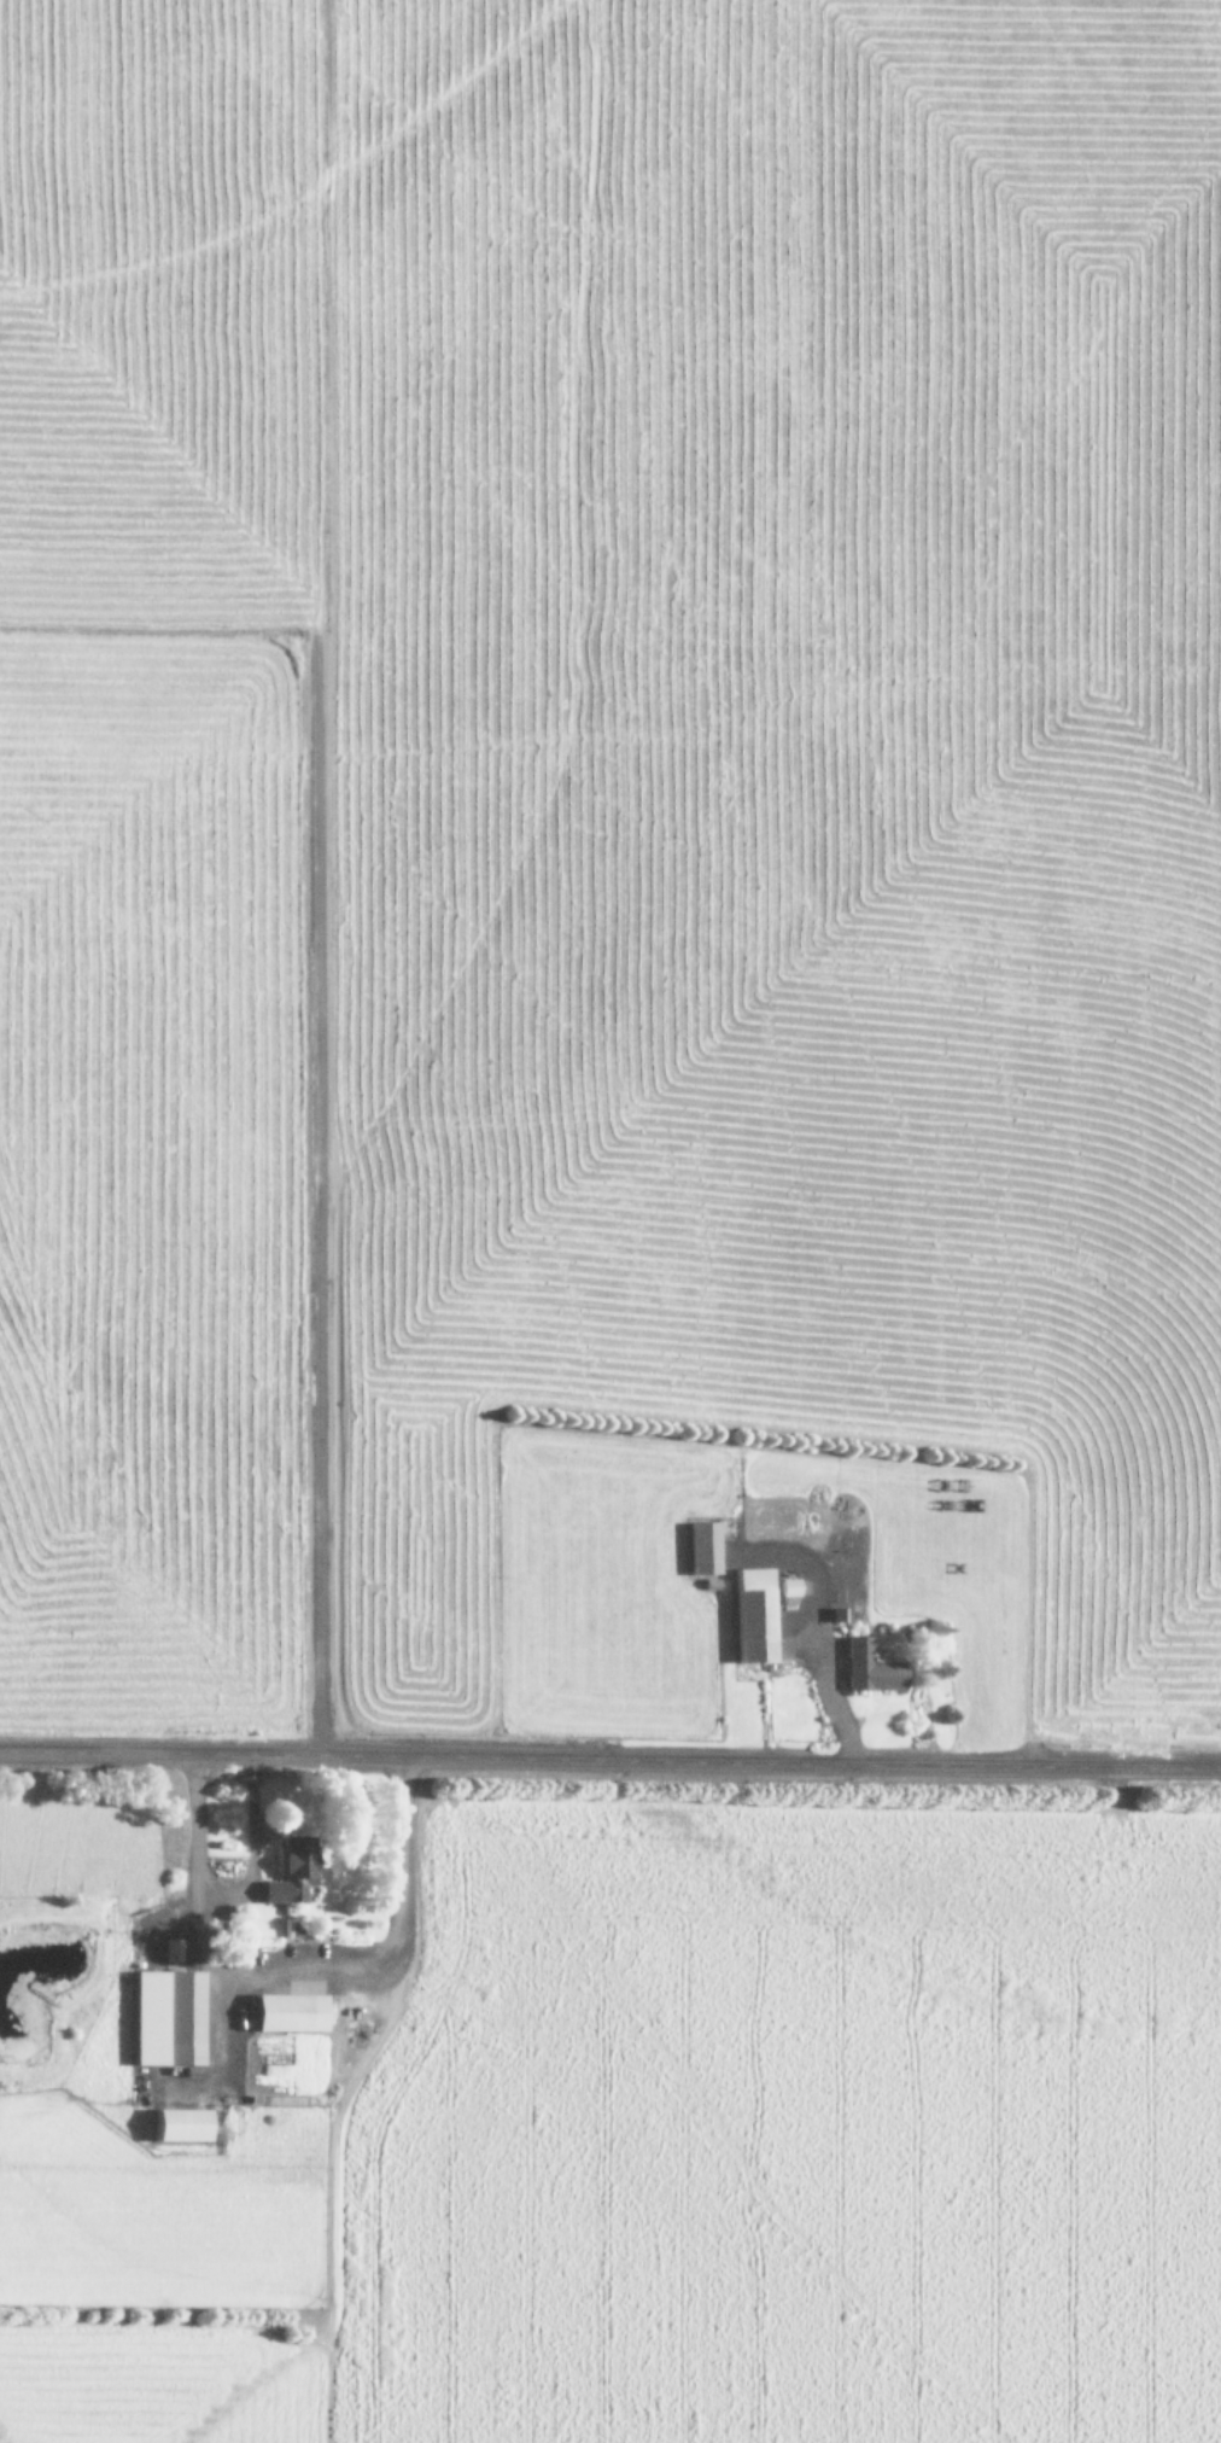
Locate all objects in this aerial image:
crop: (610, 864)
building: (700, 1546)
building: (750, 1614)
building: (866, 1666)
road: (610, 1760)
building: (291, 1872)
building: (171, 1949)
building: (282, 2011)
building: (163, 2017)
crop: (608, 2113)
building: (173, 2123)

